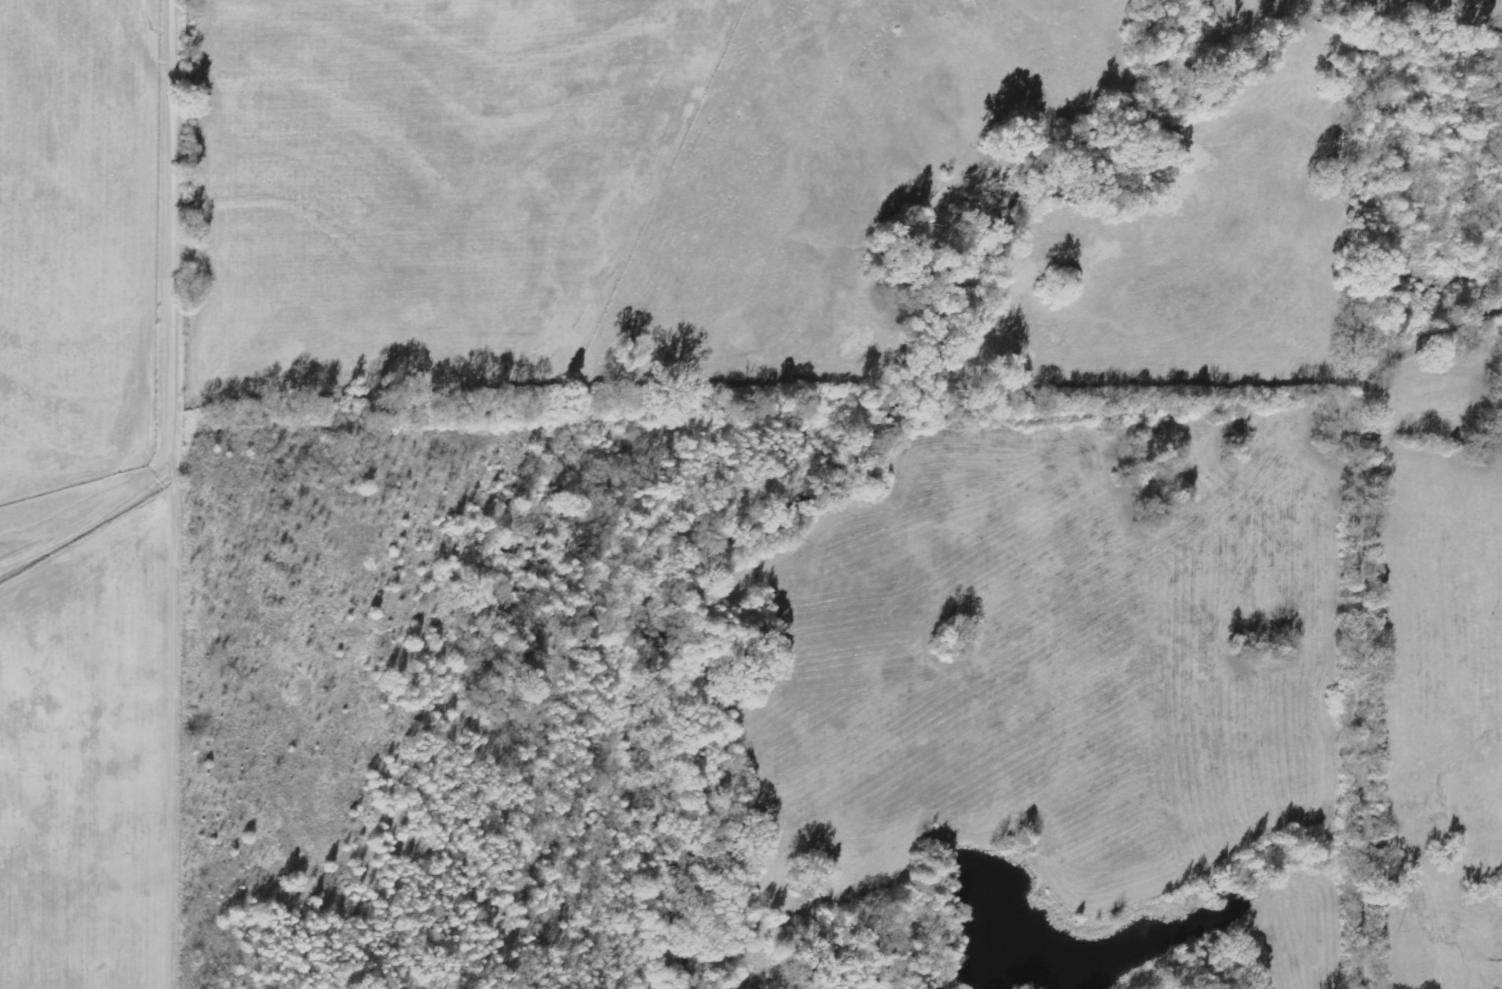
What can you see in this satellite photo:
road: (148, 313)
road: (1368, 604)

